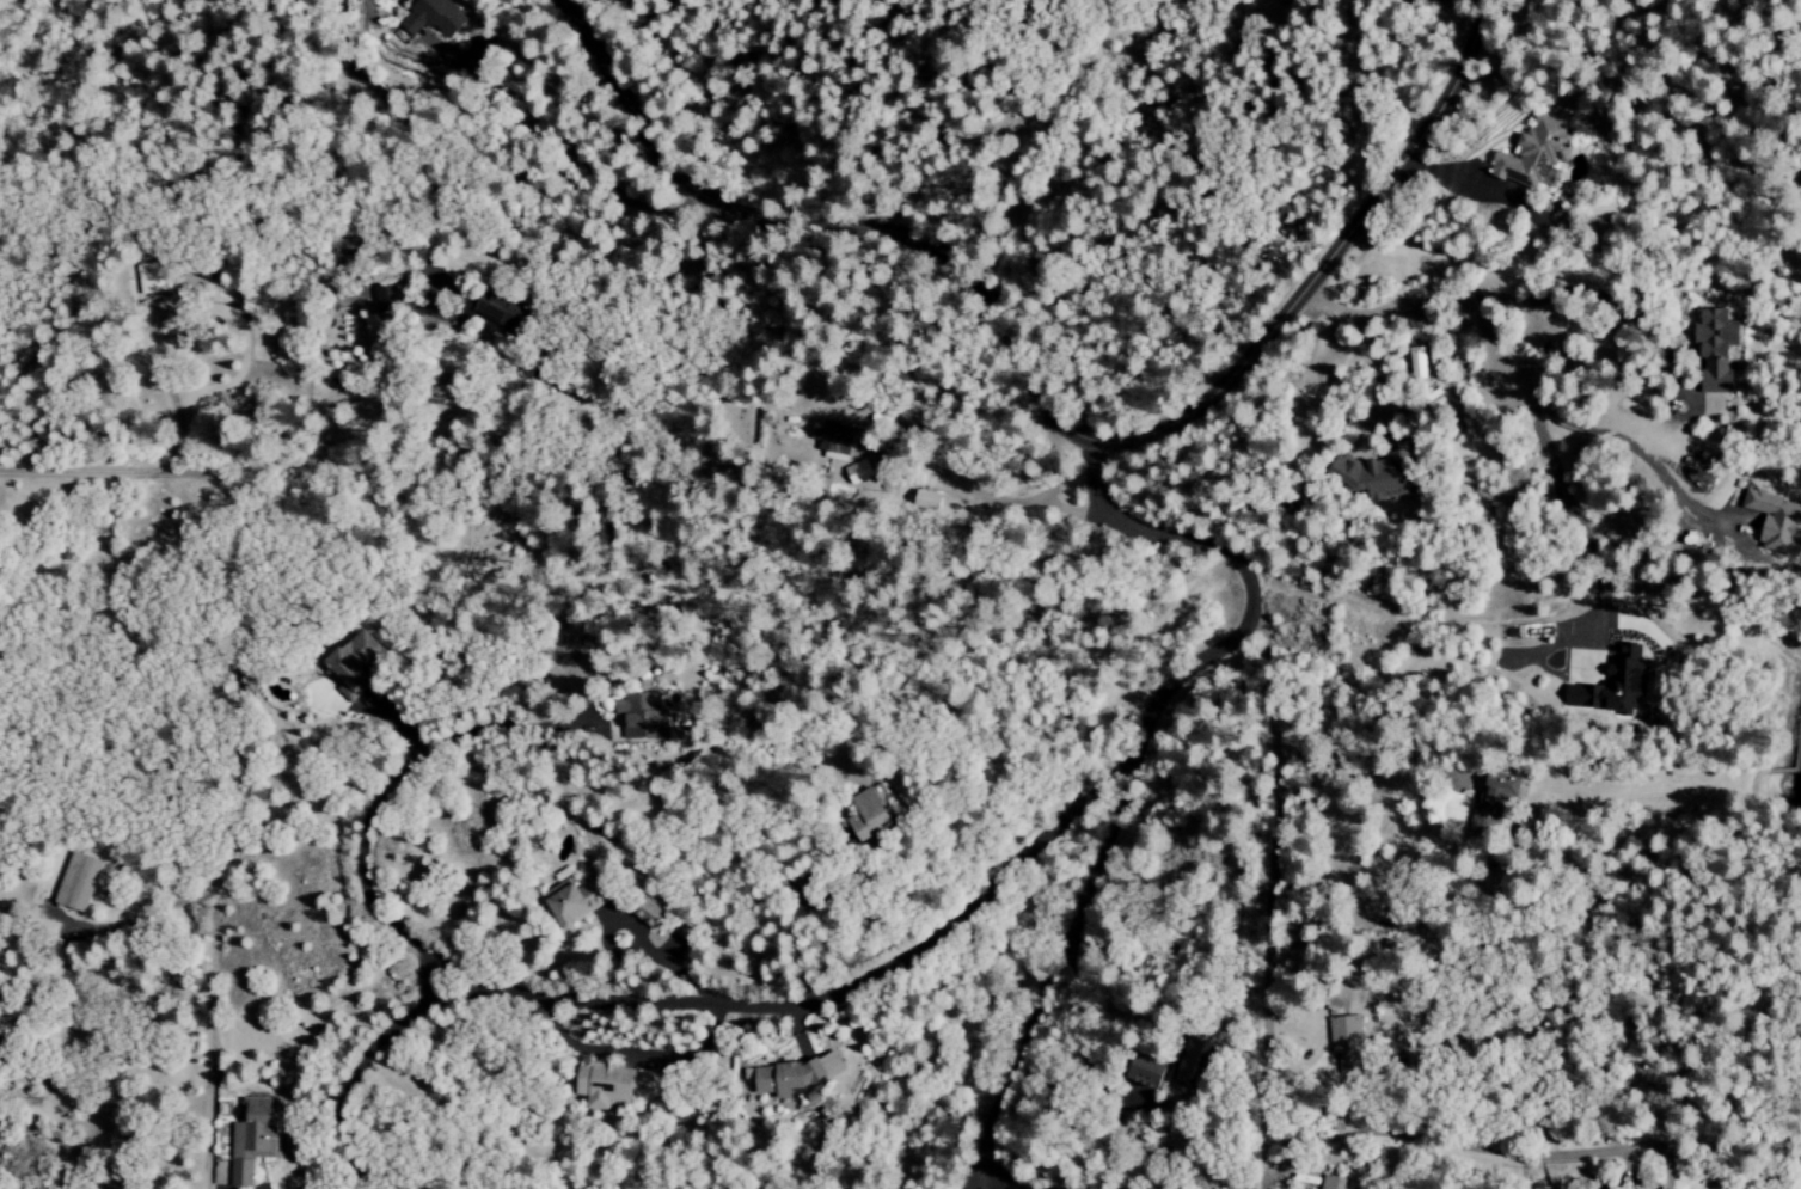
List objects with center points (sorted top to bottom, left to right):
building: (434, 18)
building: (1530, 154)
road: (1482, 184)
road: (831, 221)
road: (1324, 262)
building: (152, 277)
road: (1421, 293)
building: (387, 299)
building: (507, 317)
road: (1621, 321)
building: (370, 331)
building: (1714, 348)
road: (1371, 390)
building: (838, 442)
building: (864, 472)
building: (1370, 476)
road: (994, 499)
building: (933, 501)
road: (1070, 513)
road: (235, 576)
road: (1244, 582)
building: (354, 669)
building: (1605, 687)
building: (643, 717)
road: (497, 723)
road: (1366, 742)
building: (1495, 791)
building: (871, 813)
road: (357, 876)
building: (79, 881)
road: (1264, 882)
building: (577, 900)
building: (650, 913)
road: (1050, 974)
road: (827, 997)
building: (1340, 1044)
road: (635, 1052)
building: (1201, 1061)
road: (359, 1068)
building: (1152, 1071)
building: (798, 1074)
building: (611, 1084)
building: (253, 1138)
road: (1447, 1145)
building: (1336, 1182)
building: (237, 1187)
road: (1003, 1188)

